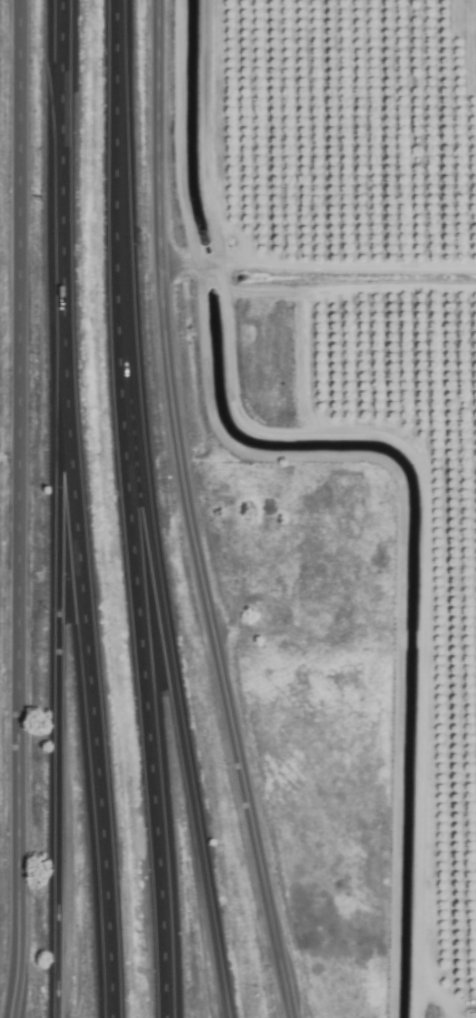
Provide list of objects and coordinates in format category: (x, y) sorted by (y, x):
road: (60, 199)
road: (12, 509)
road: (127, 509)
road: (182, 513)
road: (168, 671)
road: (55, 707)
road: (91, 707)

